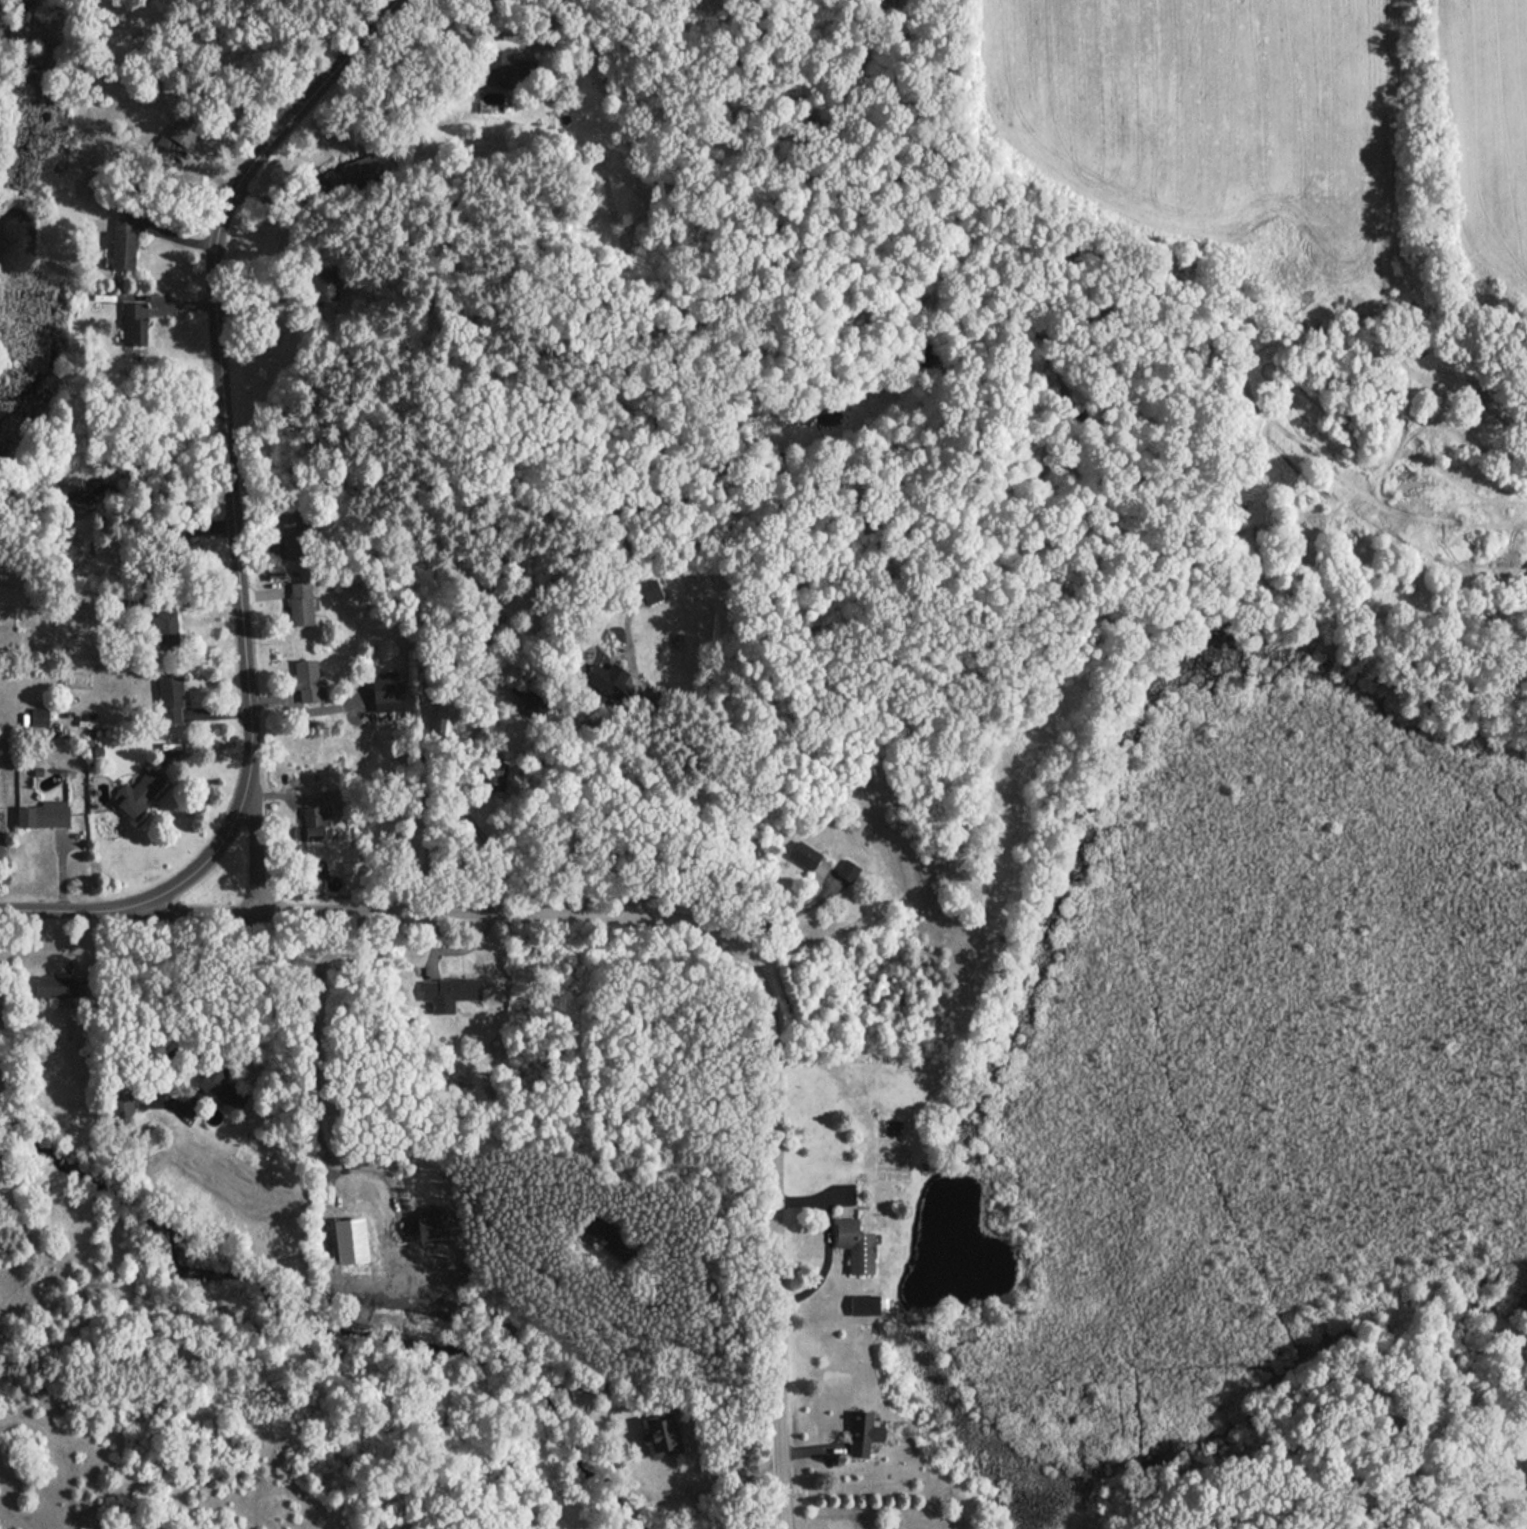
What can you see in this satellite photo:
road: (456, 28)
building: (505, 64)
building: (184, 129)
building: (164, 147)
building: (354, 171)
building: (122, 243)
building: (324, 284)
building: (133, 323)
road: (217, 344)
building: (292, 534)
building: (649, 590)
building: (300, 602)
building: (164, 629)
building: (308, 680)
building: (608, 680)
building: (387, 691)
building: (170, 699)
building: (530, 705)
road: (303, 708)
building: (39, 716)
building: (442, 720)
road: (699, 772)
building: (493, 775)
building: (138, 793)
building: (43, 813)
building: (312, 823)
road: (255, 830)
road: (492, 849)
building: (803, 854)
building: (847, 869)
road: (169, 893)
road: (780, 927)
road: (721, 945)
building: (61, 987)
building: (449, 992)
road: (227, 1020)
building: (220, 1085)
road: (311, 1098)
building: (122, 1106)
building: (0, 1151)
building: (430, 1224)
building: (607, 1237)
road: (826, 1237)
building: (350, 1240)
building: (854, 1244)
building: (864, 1304)
building: (862, 1432)
building: (660, 1434)

